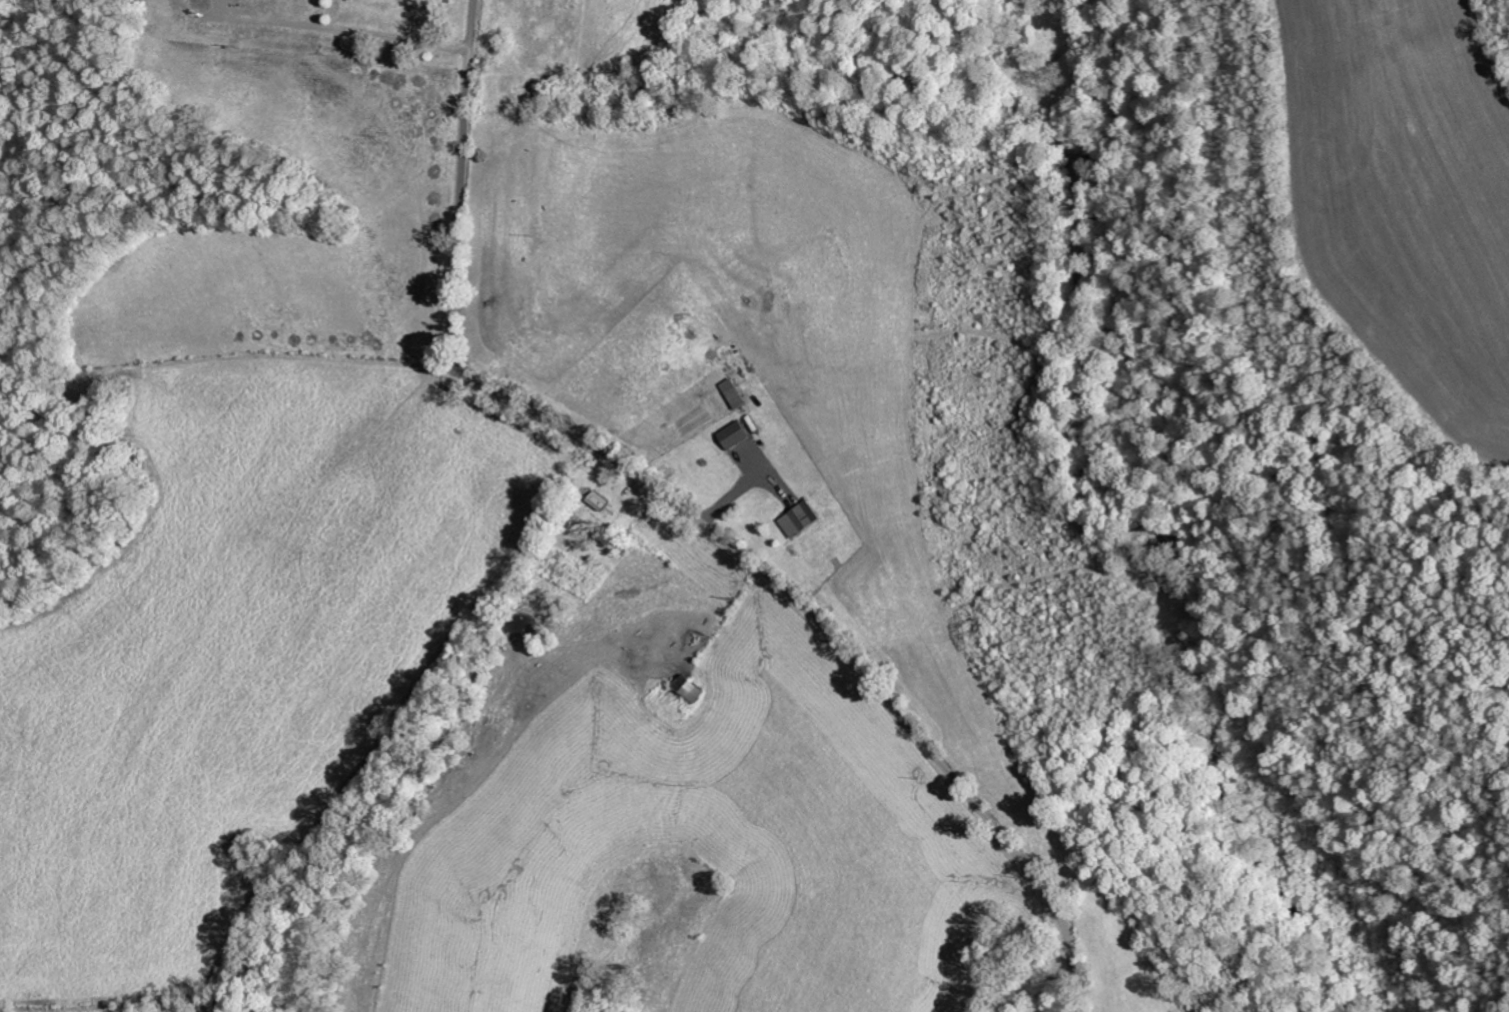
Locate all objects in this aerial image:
road: (460, 179)
building: (732, 433)
building: (797, 518)
road: (826, 632)
building: (687, 687)

